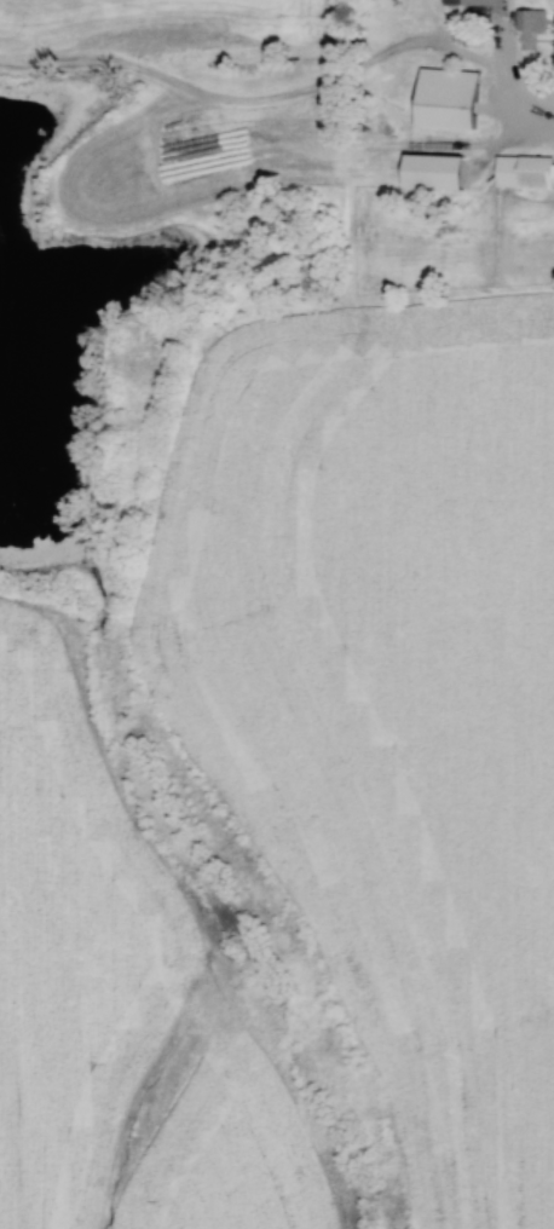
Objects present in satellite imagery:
building: (475, 2)
building: (530, 27)
road: (510, 88)
building: (448, 94)
building: (431, 166)
building: (523, 173)
crop: (391, 706)
crop: (122, 1002)

